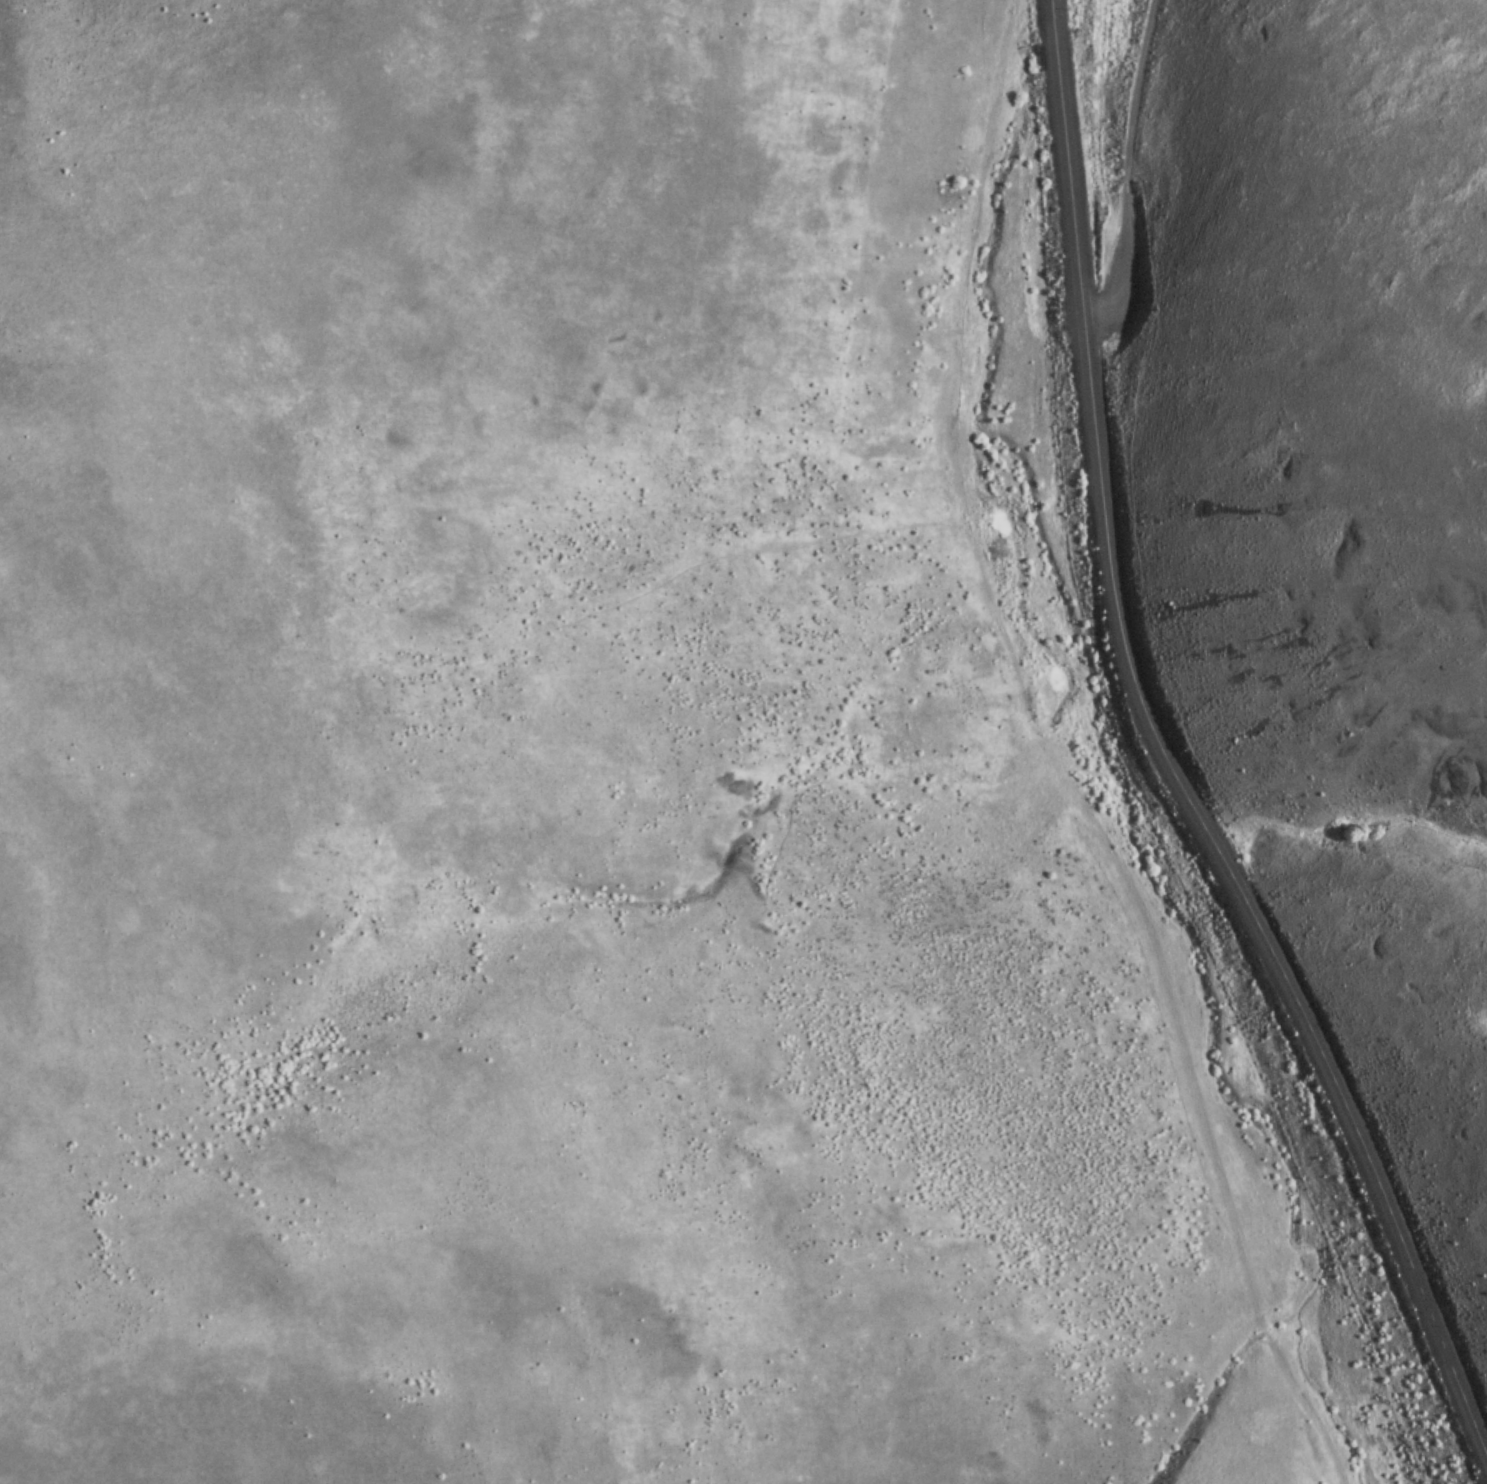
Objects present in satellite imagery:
road: (1134, 177)
road: (1168, 761)

